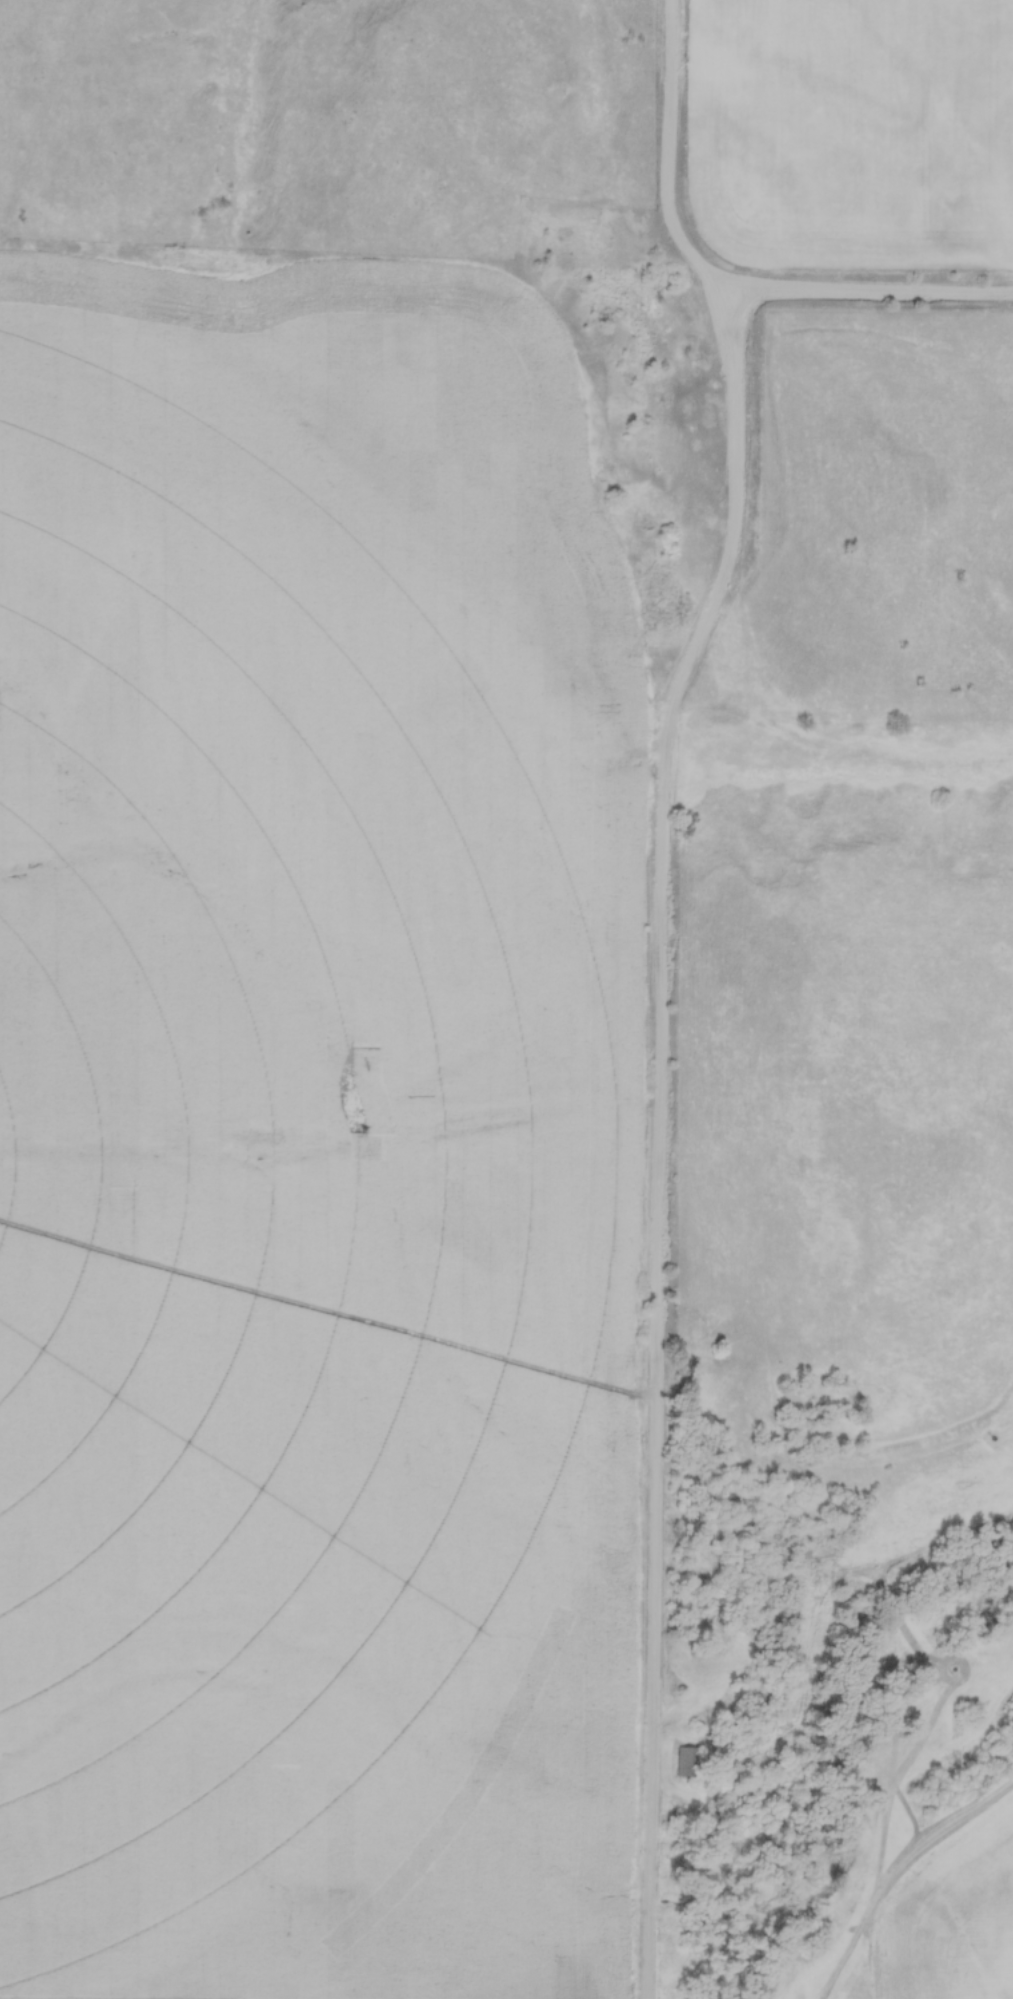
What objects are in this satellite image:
road: (853, 297)
road: (744, 322)
road: (662, 985)
building: (687, 1763)

